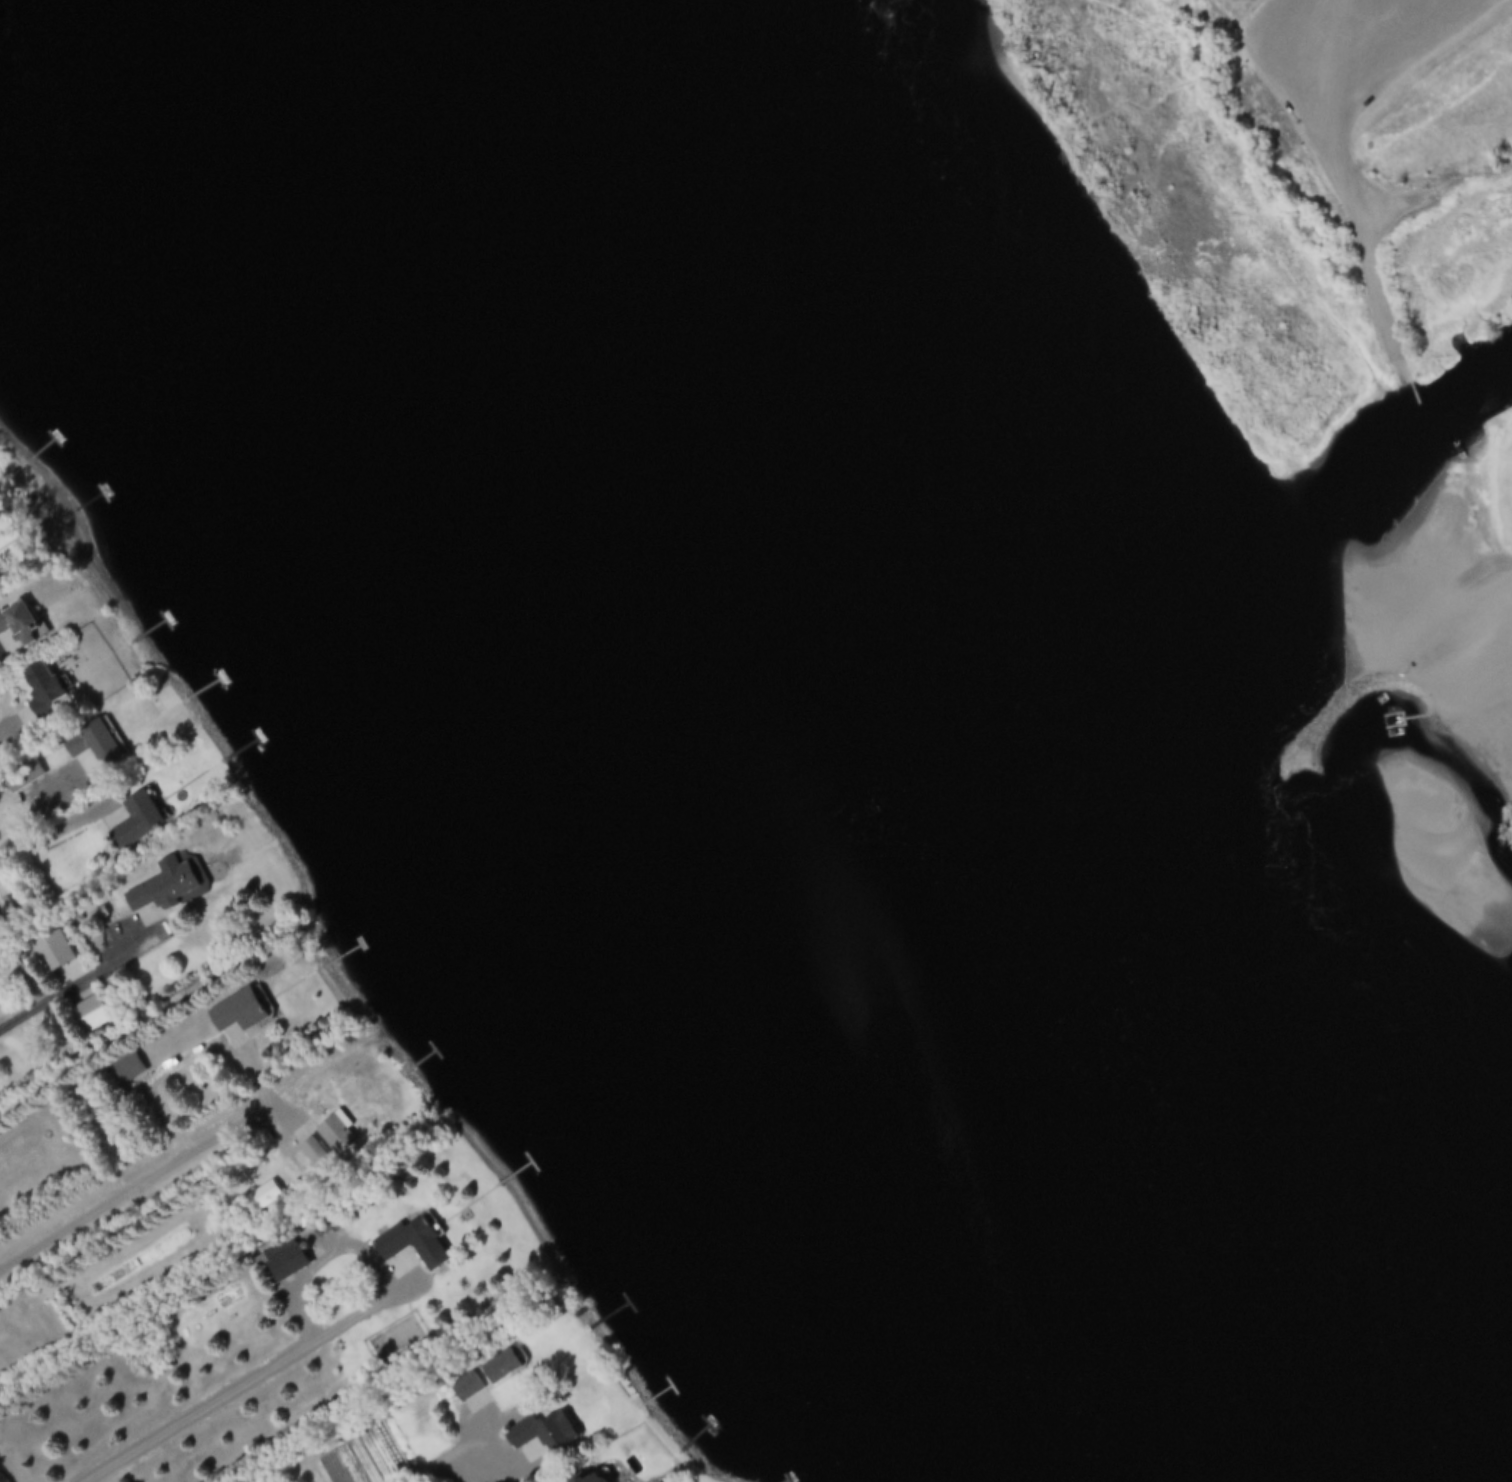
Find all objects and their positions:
road: (1351, 175)
park: (1287, 185)
building: (15, 631)
building: (39, 693)
river: (626, 741)
building: (92, 746)
building: (21, 778)
road: (44, 810)
building: (135, 823)
road: (57, 835)
building: (162, 889)
building: (6, 910)
building: (51, 954)
road: (73, 988)
building: (235, 1014)
building: (87, 1017)
road: (225, 1048)
building: (127, 1070)
building: (335, 1136)
building: (311, 1153)
building: (261, 1200)
road: (91, 1212)
building: (411, 1246)
road: (360, 1253)
building: (285, 1266)
building: (500, 1369)
building: (464, 1390)
road: (204, 1412)
building: (541, 1436)
road: (454, 1455)
building: (590, 1479)

